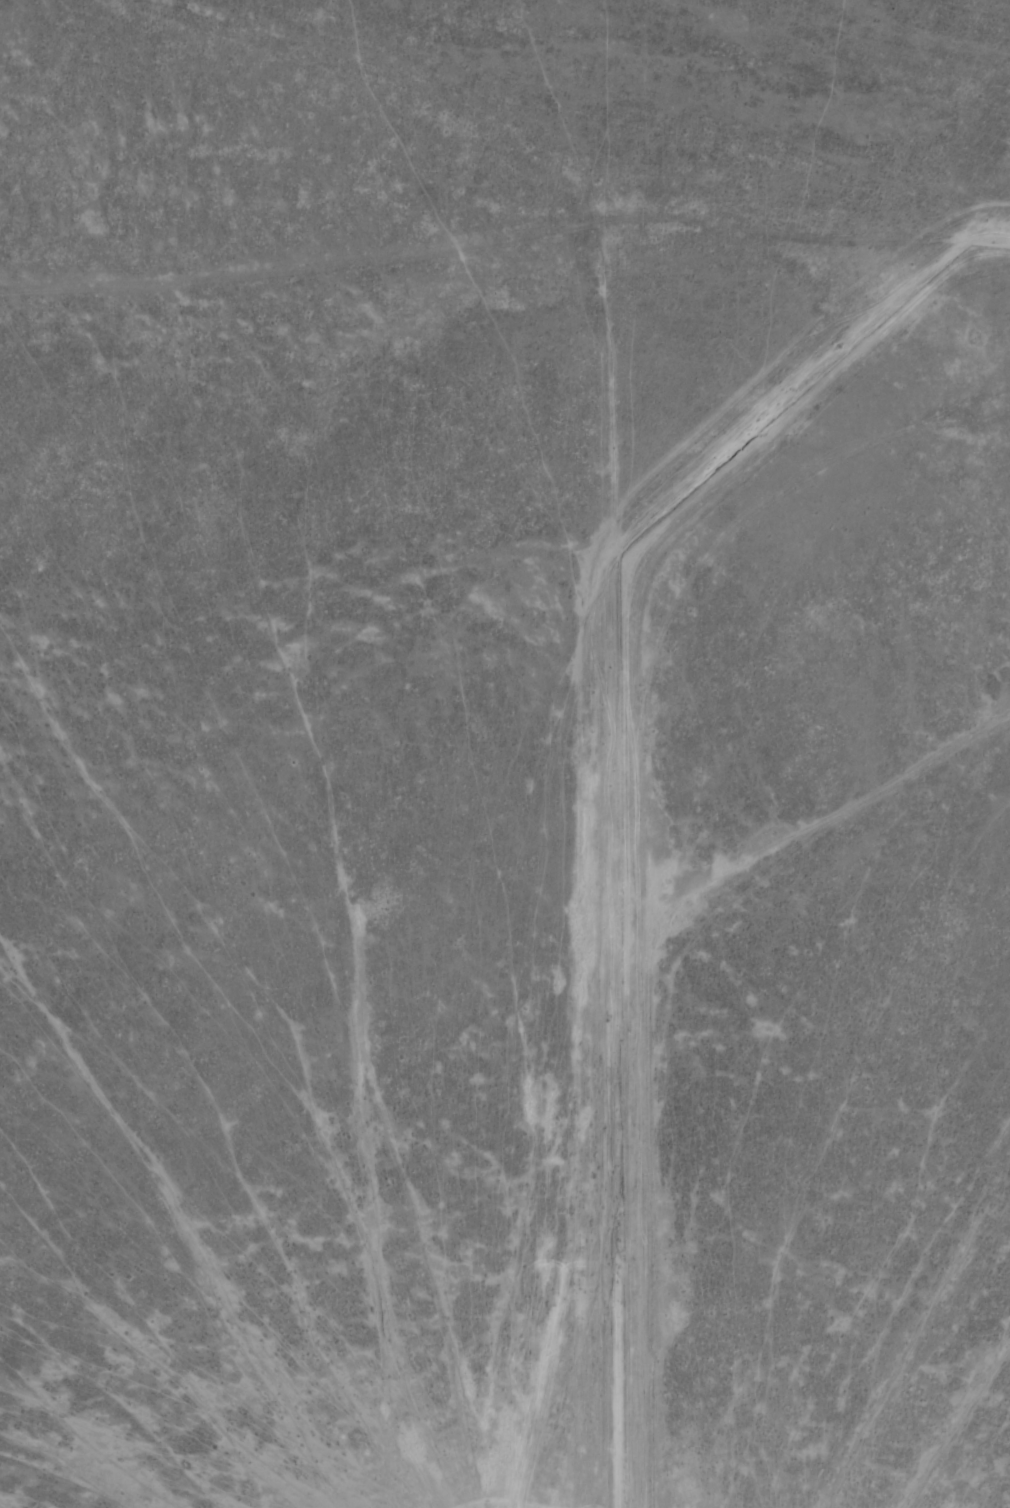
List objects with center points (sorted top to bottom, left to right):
road: (717, 85)
road: (504, 231)
road: (699, 807)

